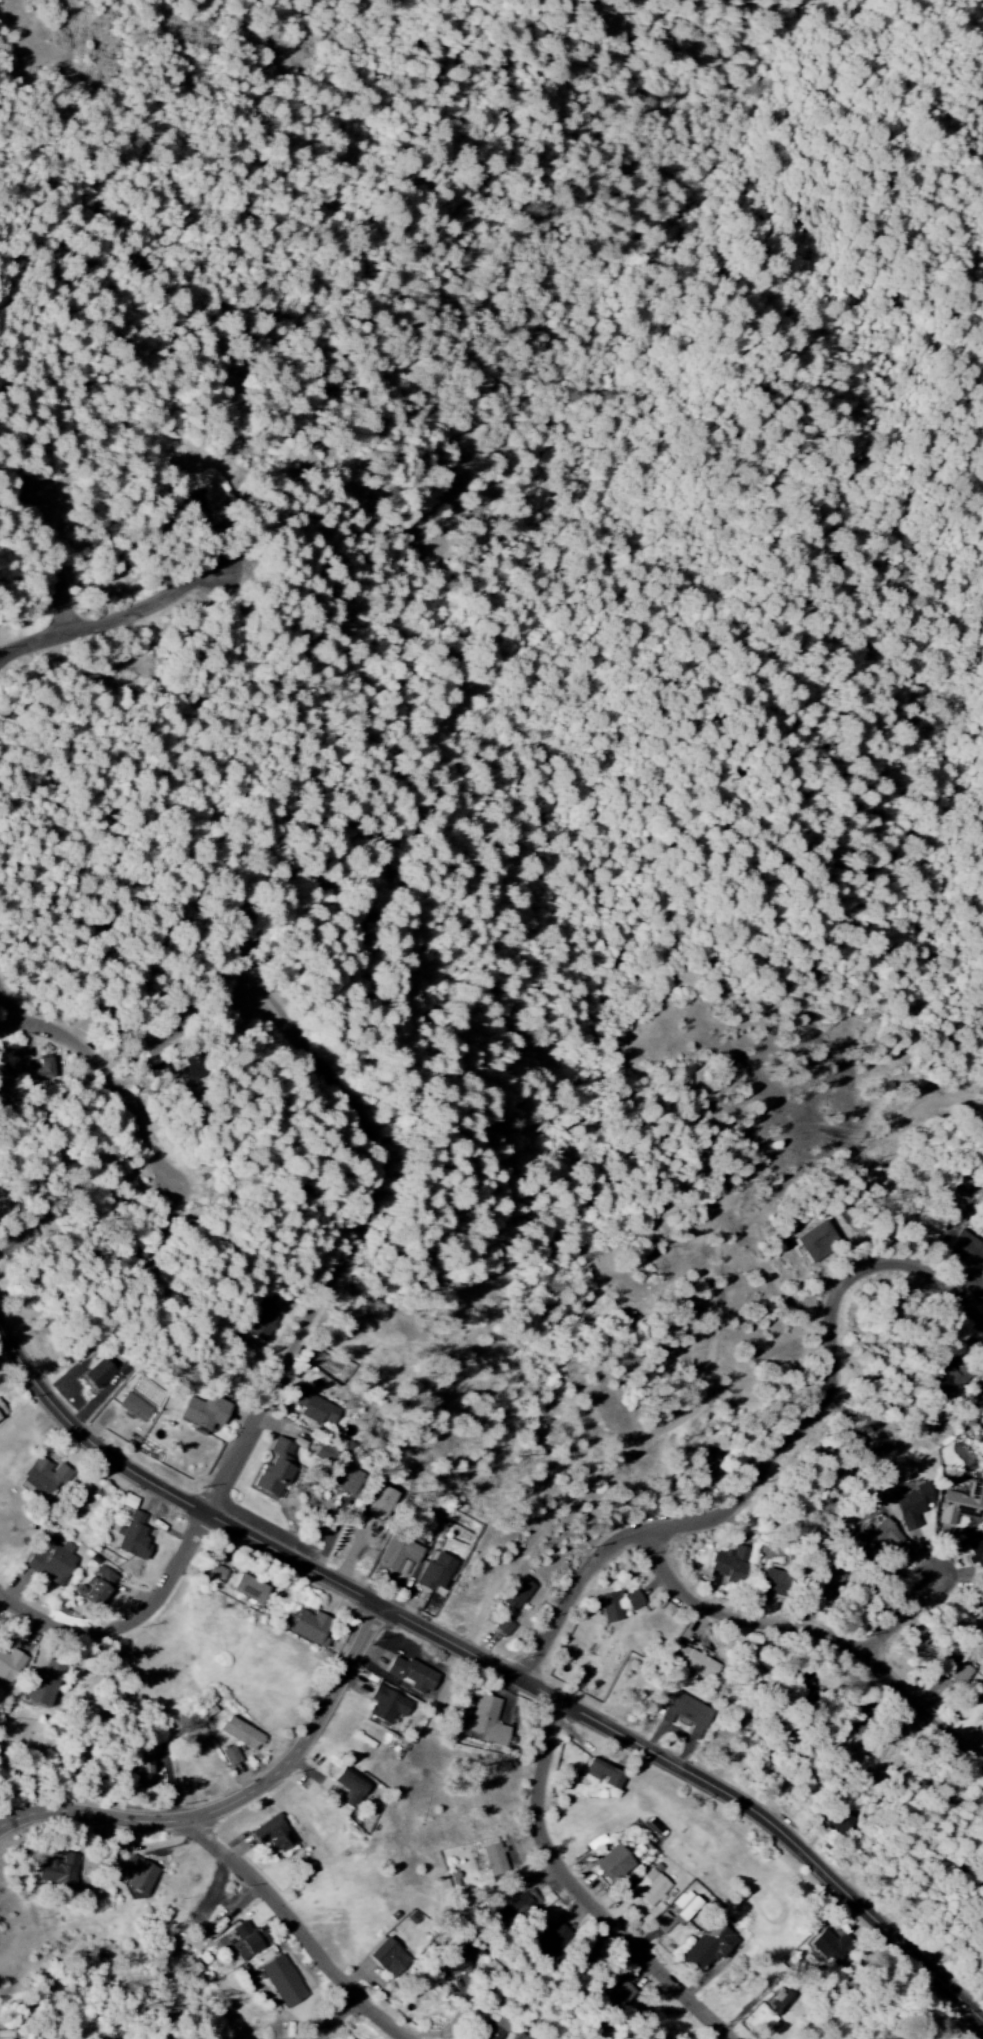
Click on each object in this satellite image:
building: (185, 507)
road: (74, 549)
road: (127, 621)
road: (8, 1008)
building: (156, 1041)
building: (192, 1068)
building: (43, 1069)
road: (113, 1073)
road: (359, 1232)
building: (818, 1241)
building: (968, 1249)
building: (982, 1269)
building: (261, 1320)
road: (713, 1329)
building: (99, 1374)
building: (953, 1380)
building: (135, 1408)
building: (315, 1408)
building: (2, 1411)
building: (206, 1412)
building: (326, 1455)
road: (778, 1460)
building: (276, 1469)
building: (44, 1478)
building: (347, 1480)
building: (382, 1501)
building: (128, 1502)
building: (962, 1505)
building: (914, 1506)
building: (878, 1537)
building: (133, 1538)
building: (398, 1553)
building: (976, 1555)
building: (53, 1563)
building: (730, 1564)
building: (436, 1573)
building: (827, 1580)
building: (775, 1583)
building: (101, 1586)
building: (251, 1589)
building: (519, 1594)
building: (634, 1601)
building: (610, 1608)
road: (909, 1619)
road: (129, 1625)
building: (310, 1627)
building: (504, 1627)
road: (819, 1632)
building: (959, 1654)
road: (489, 1662)
building: (698, 1665)
building: (9, 1668)
building: (958, 1673)
building: (414, 1675)
building: (44, 1685)
building: (979, 1695)
building: (388, 1706)
building: (687, 1713)
building: (980, 1718)
building: (487, 1721)
building: (242, 1734)
building: (230, 1756)
building: (144, 1771)
building: (605, 1774)
building: (351, 1788)
road: (240, 1804)
building: (274, 1835)
building: (495, 1860)
building: (614, 1864)
building: (59, 1871)
building: (140, 1875)
building: (651, 1888)
road: (583, 1894)
building: (518, 1907)
building: (685, 1908)
road: (303, 1930)
building: (553, 1936)
building: (249, 1941)
building: (709, 1947)
building: (830, 1947)
building: (390, 1959)
building: (283, 1982)
building: (616, 1996)
road: (336, 2019)
building: (492, 2028)
building: (833, 2038)

